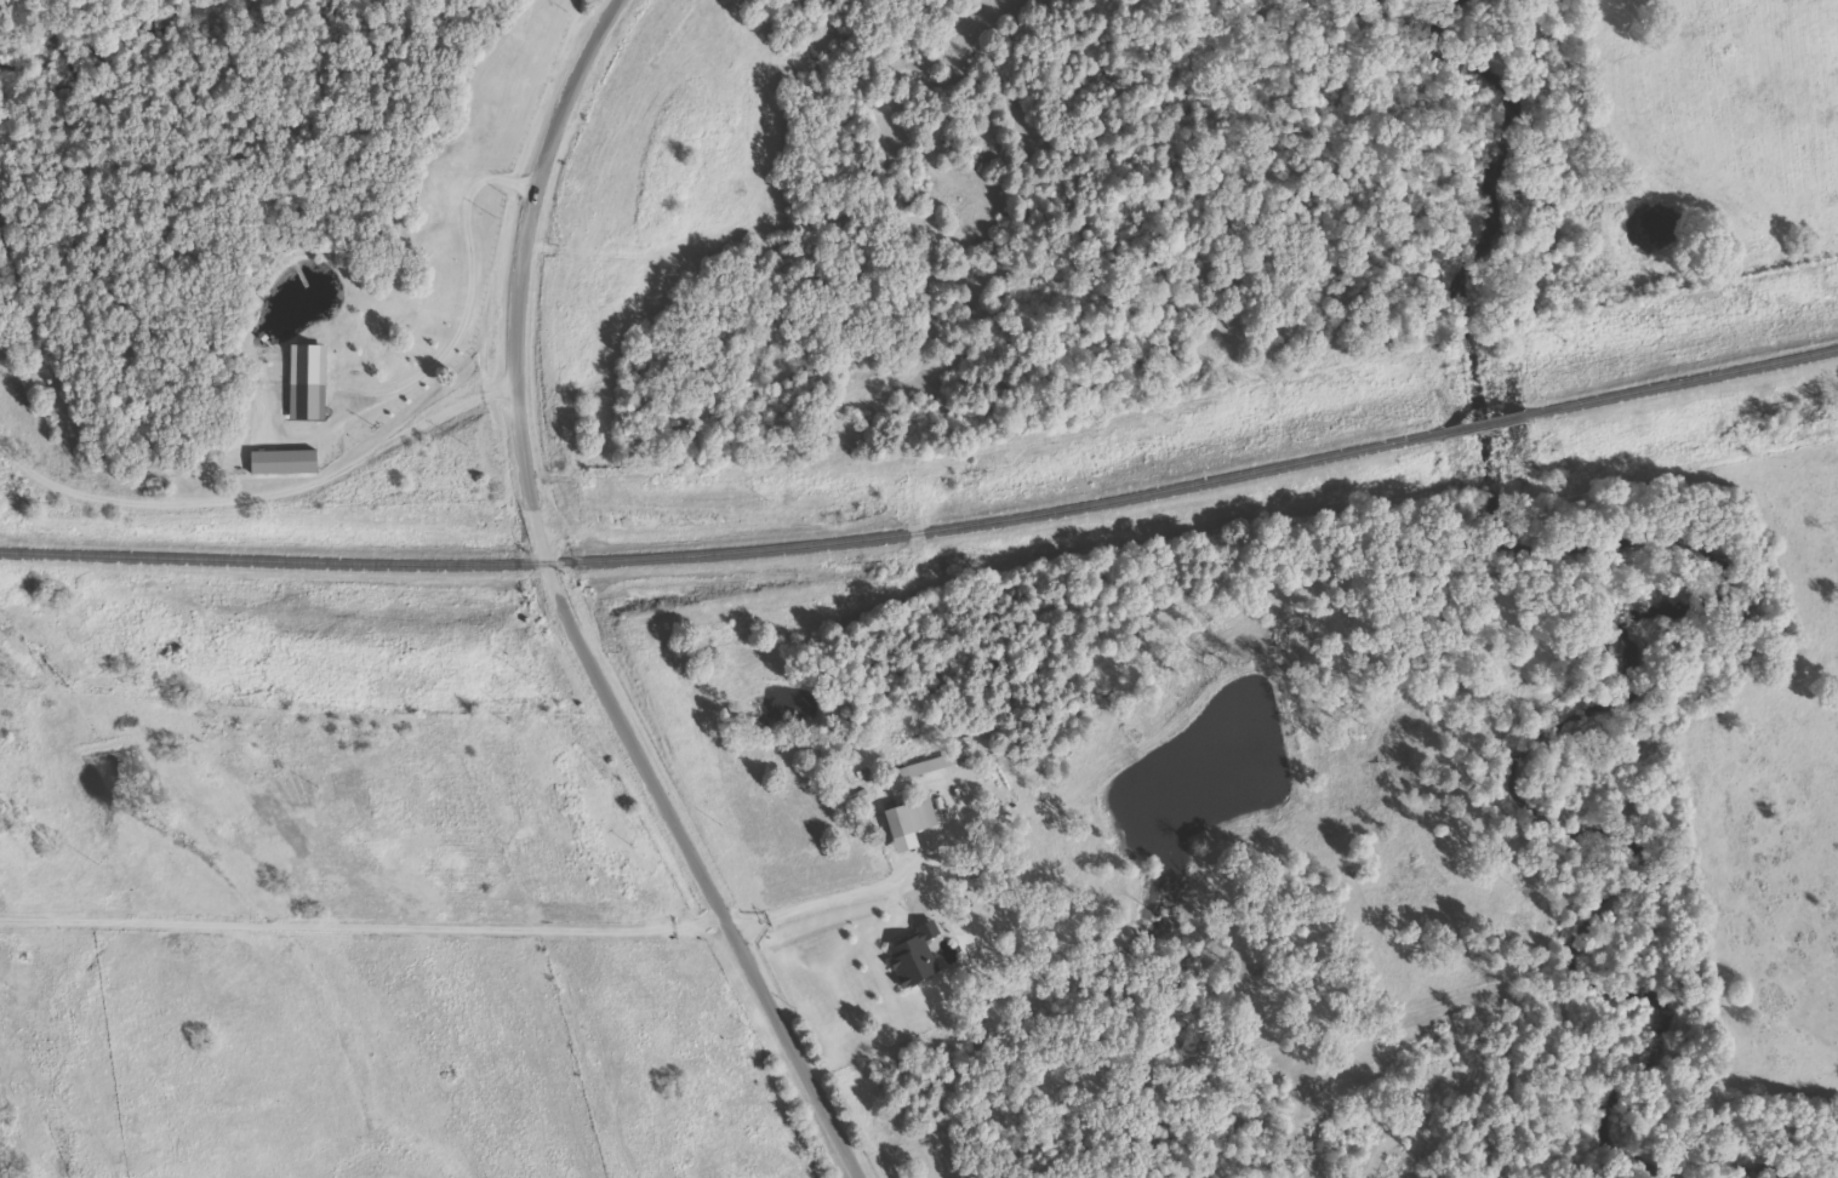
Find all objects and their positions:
building: (307, 384)
building: (282, 464)
railway: (926, 531)
road: (561, 605)
building: (915, 774)
building: (908, 825)
building: (914, 957)

